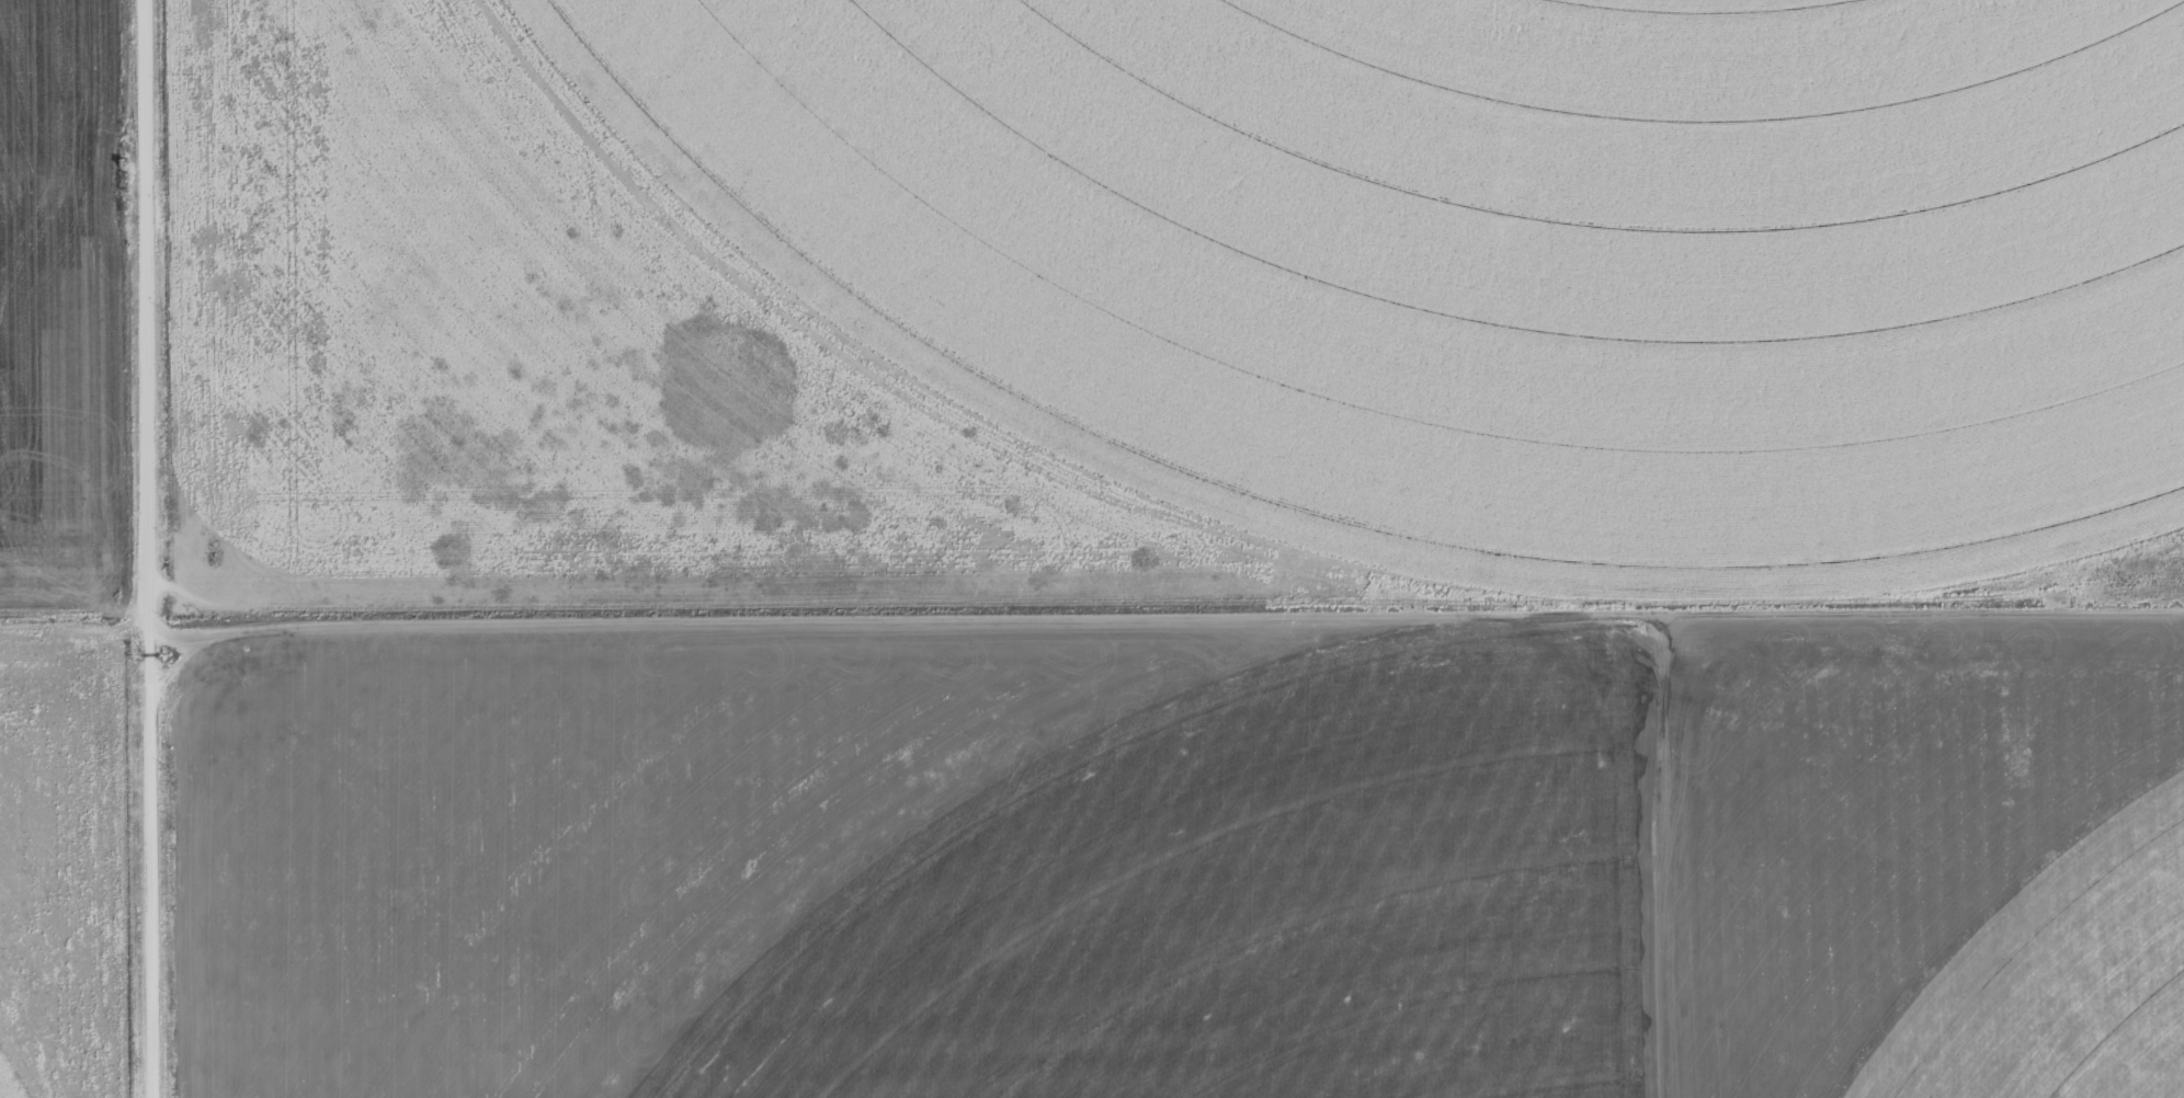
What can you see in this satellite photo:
road: (160, 549)

